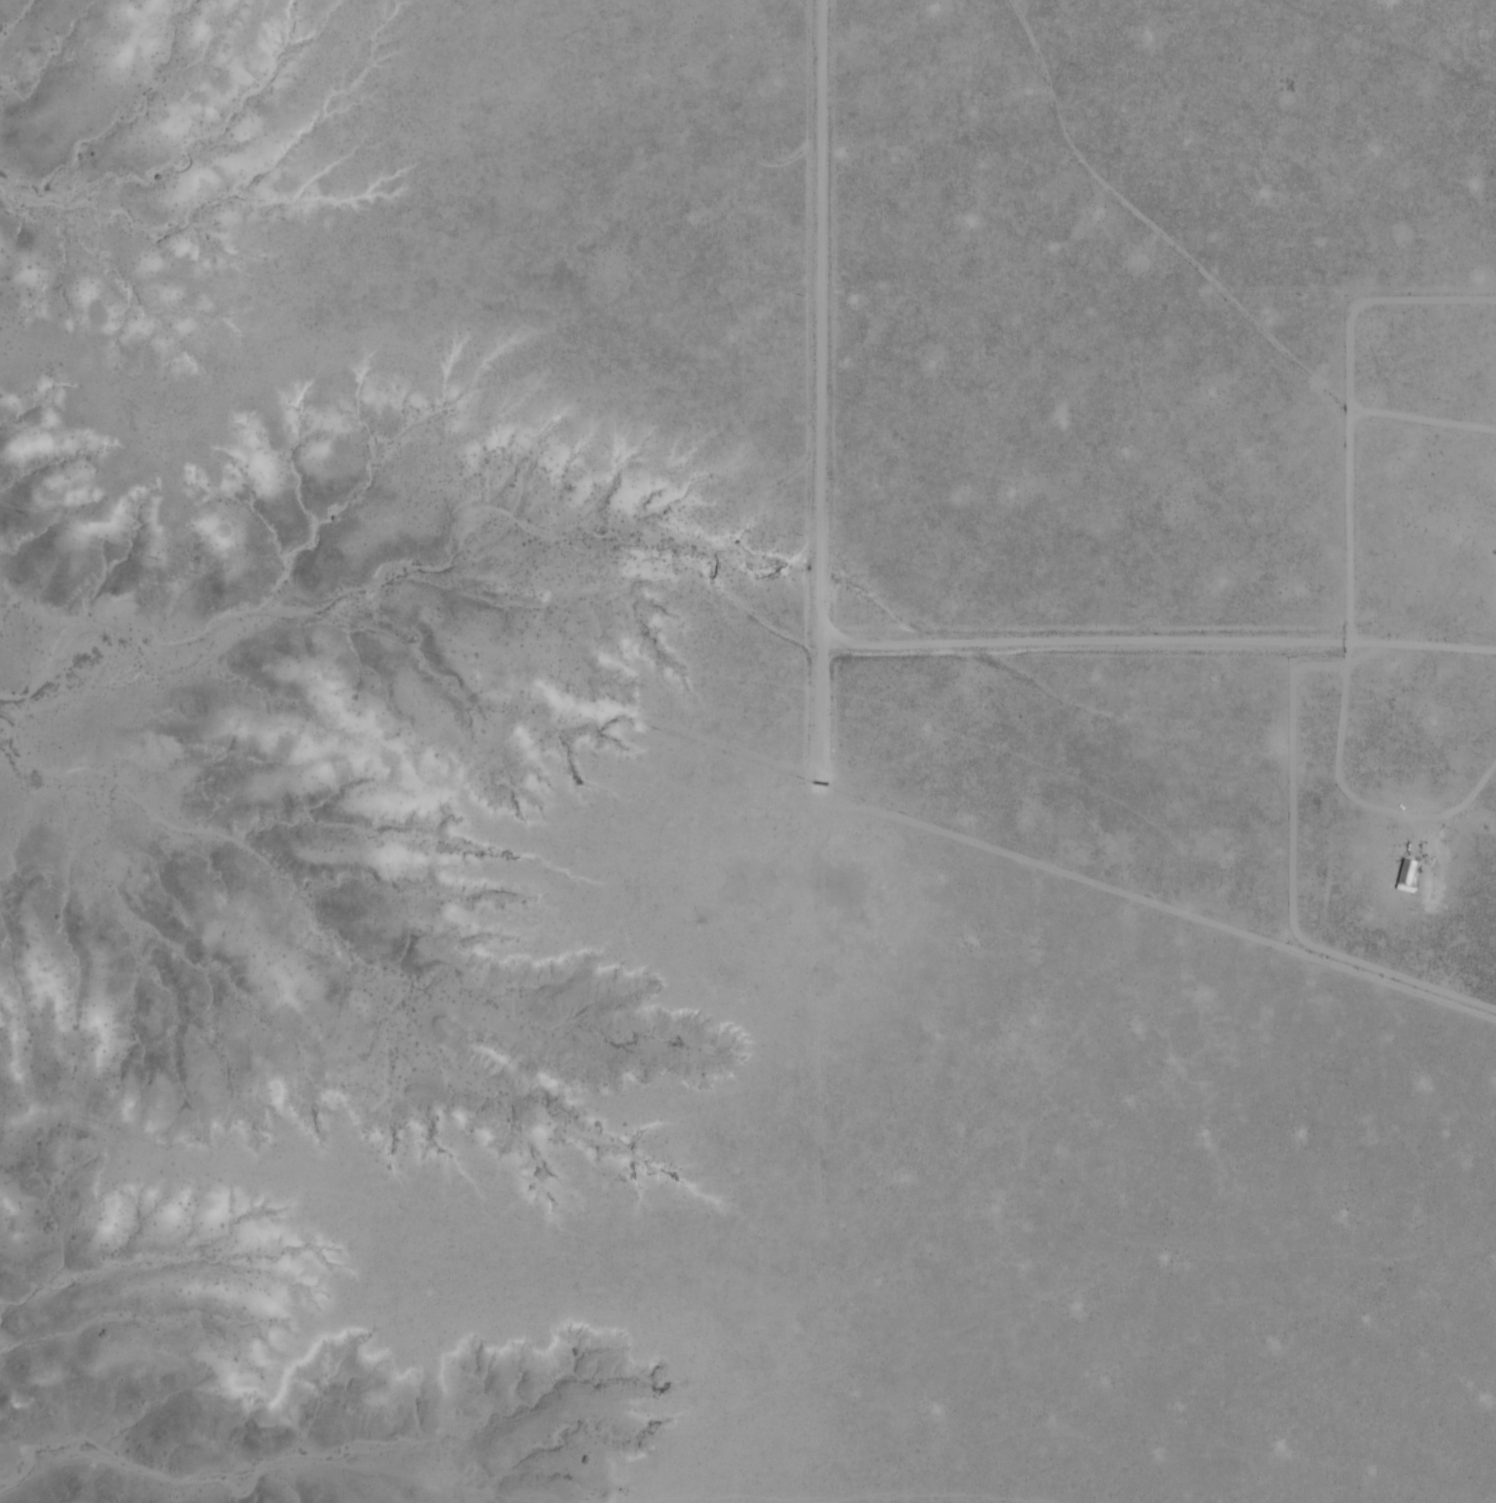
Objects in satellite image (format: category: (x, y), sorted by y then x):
road: (819, 392)
road: (1157, 641)
road: (1341, 779)
road: (1062, 868)
building: (1407, 875)
road: (821, 1013)

